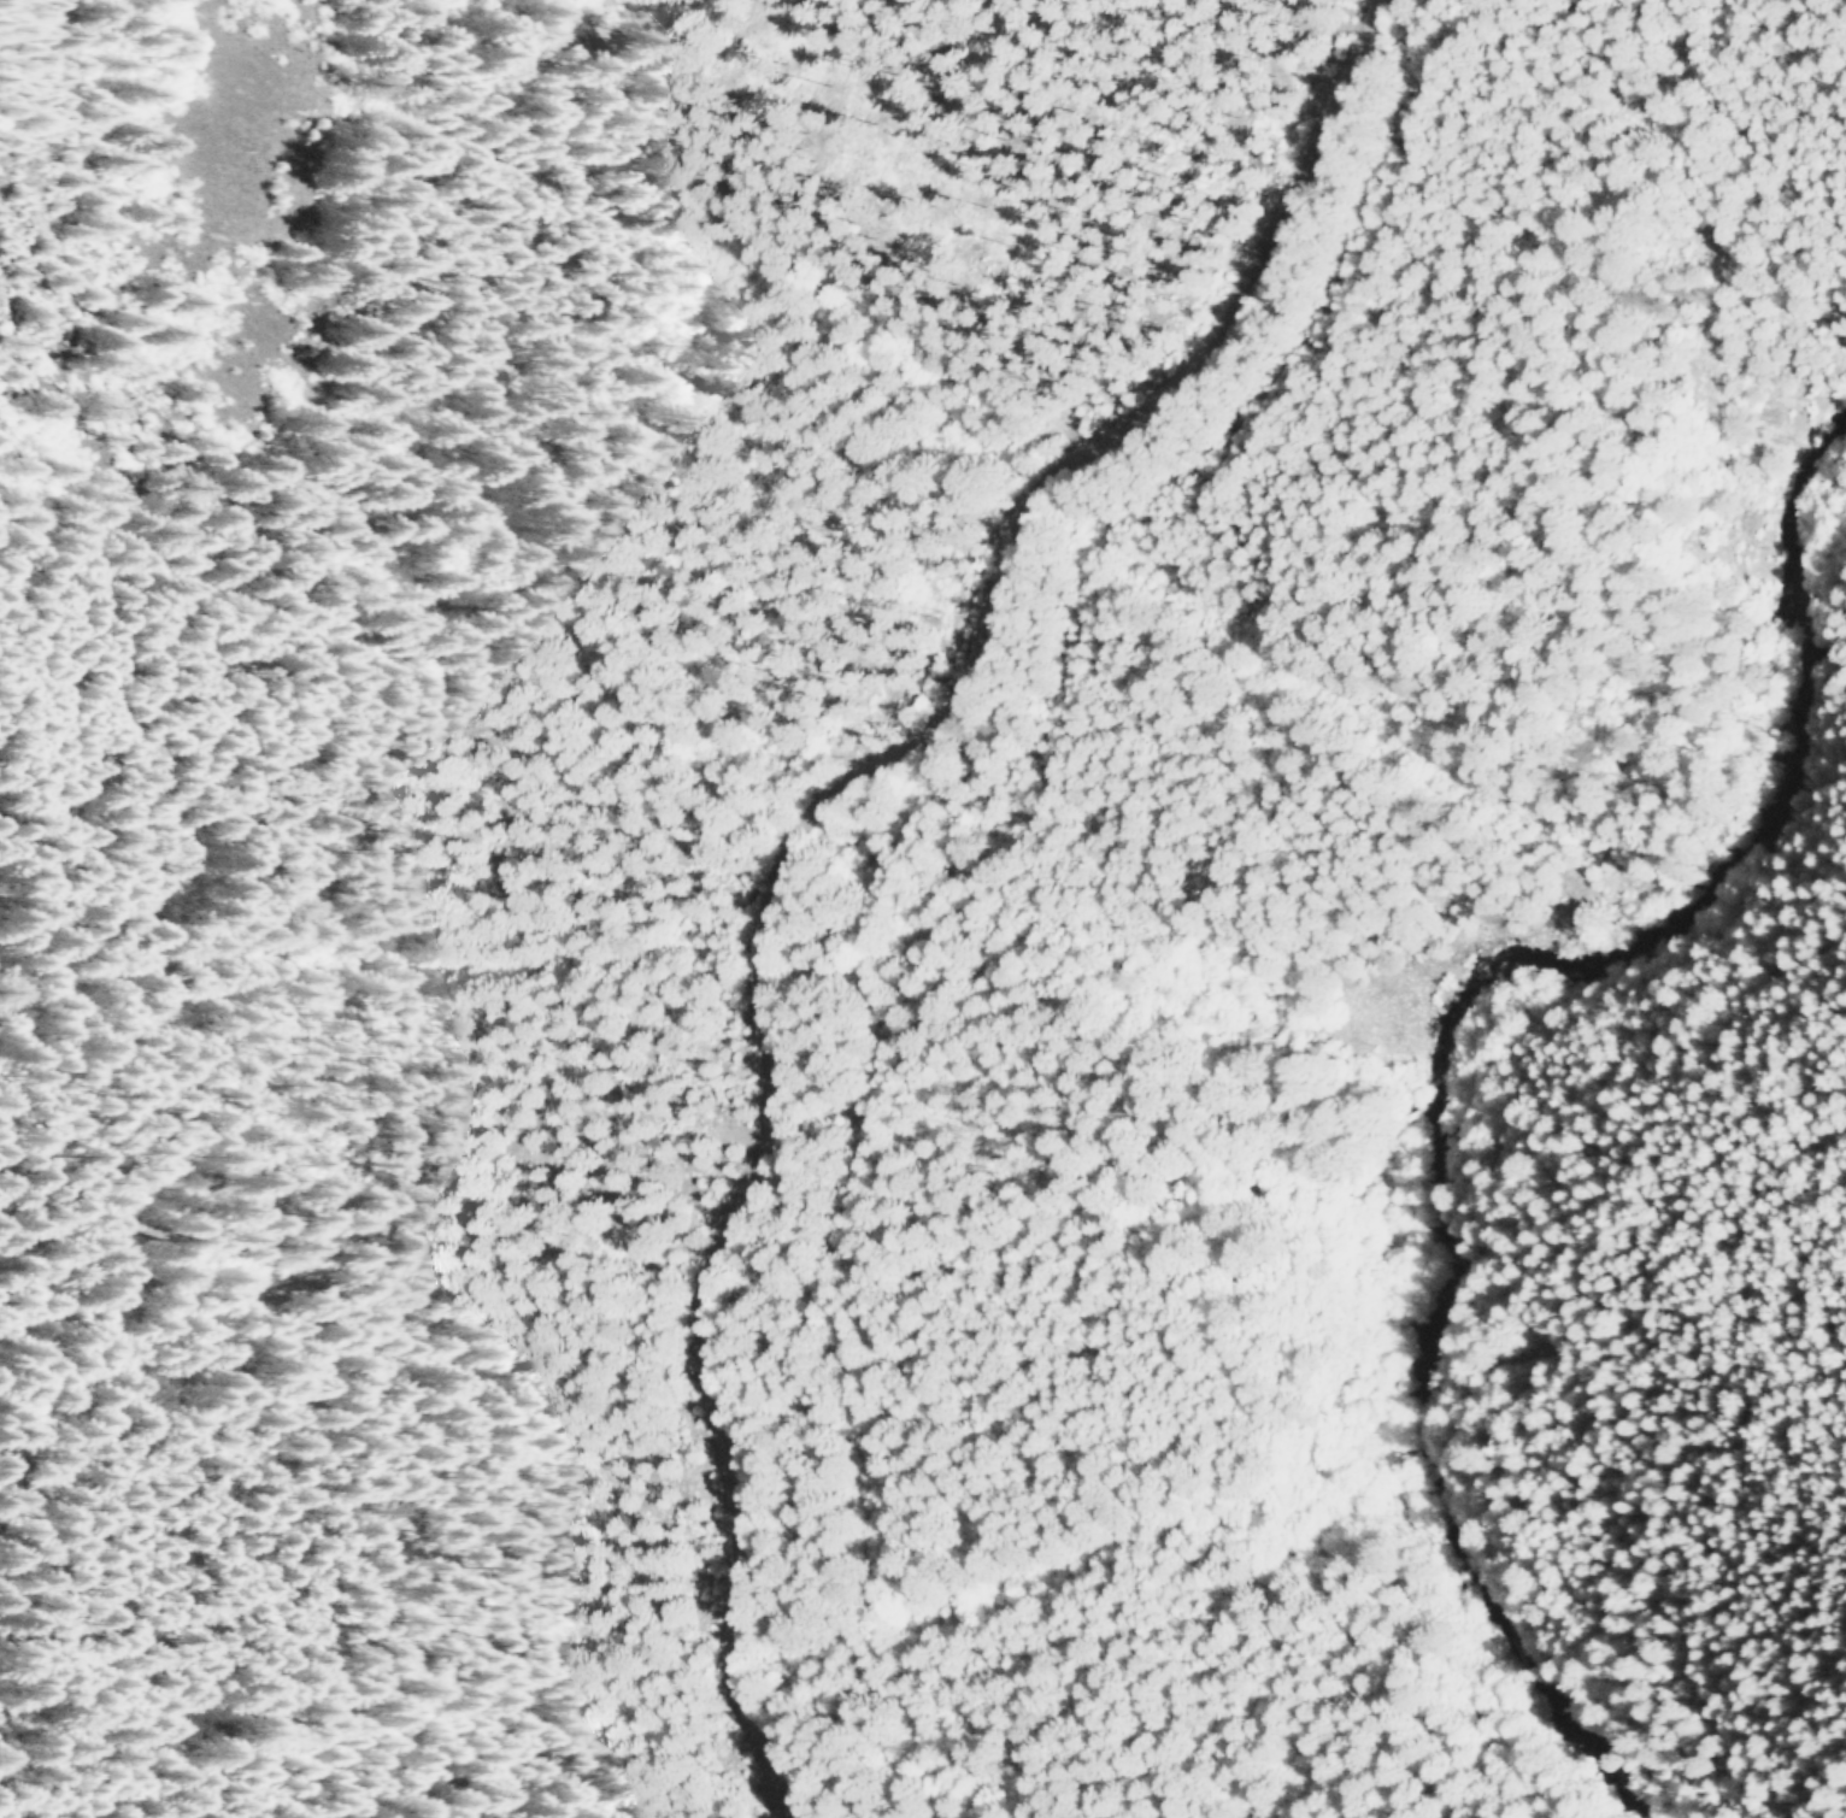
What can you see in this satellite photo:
road: (788, 808)
river: (1505, 1094)

